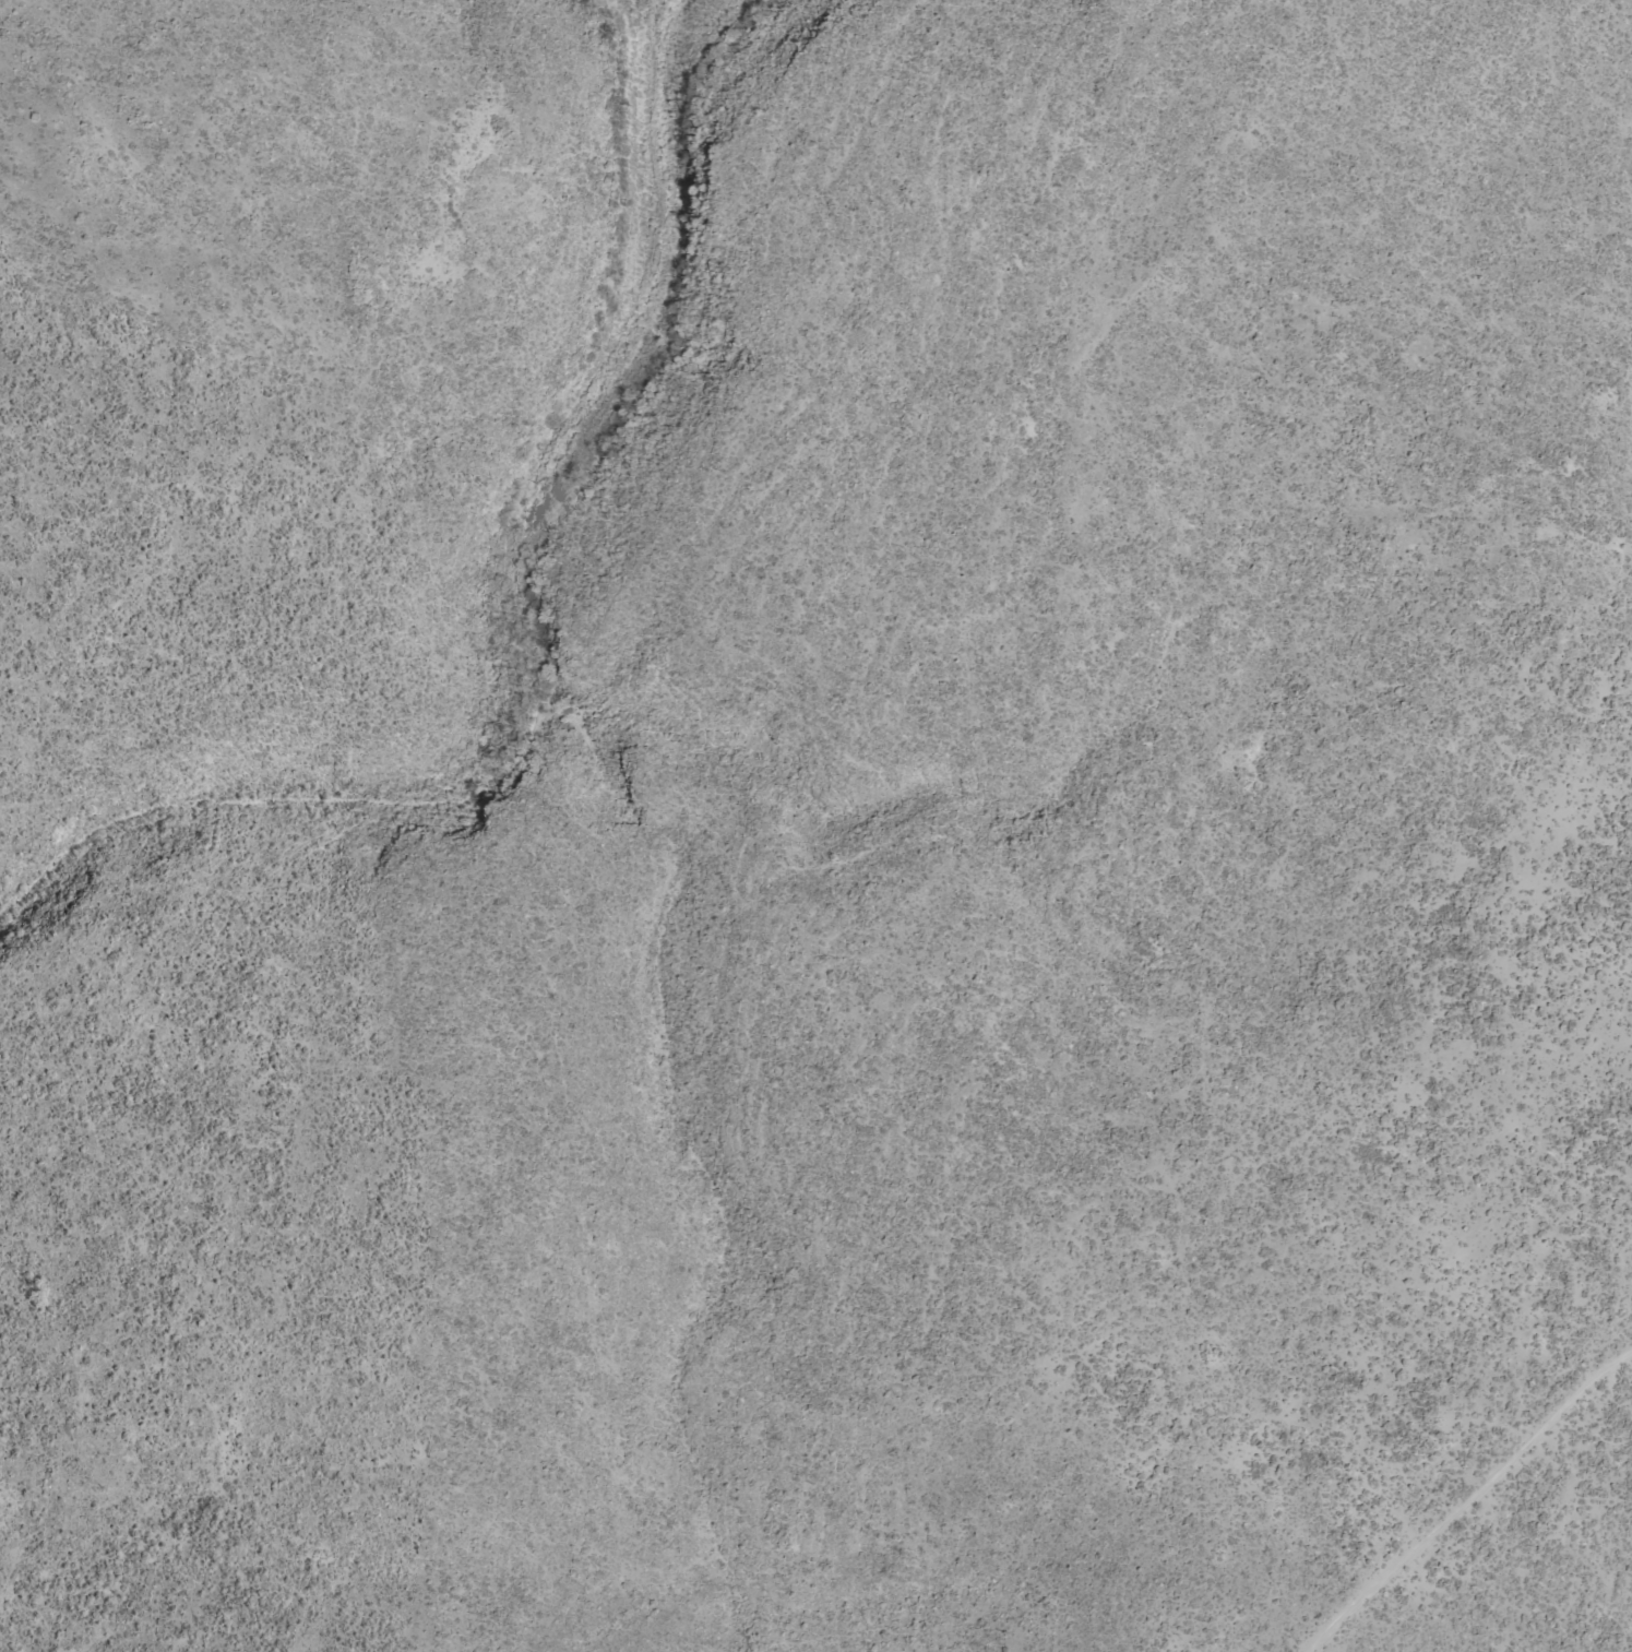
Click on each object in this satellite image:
road: (1467, 1500)

